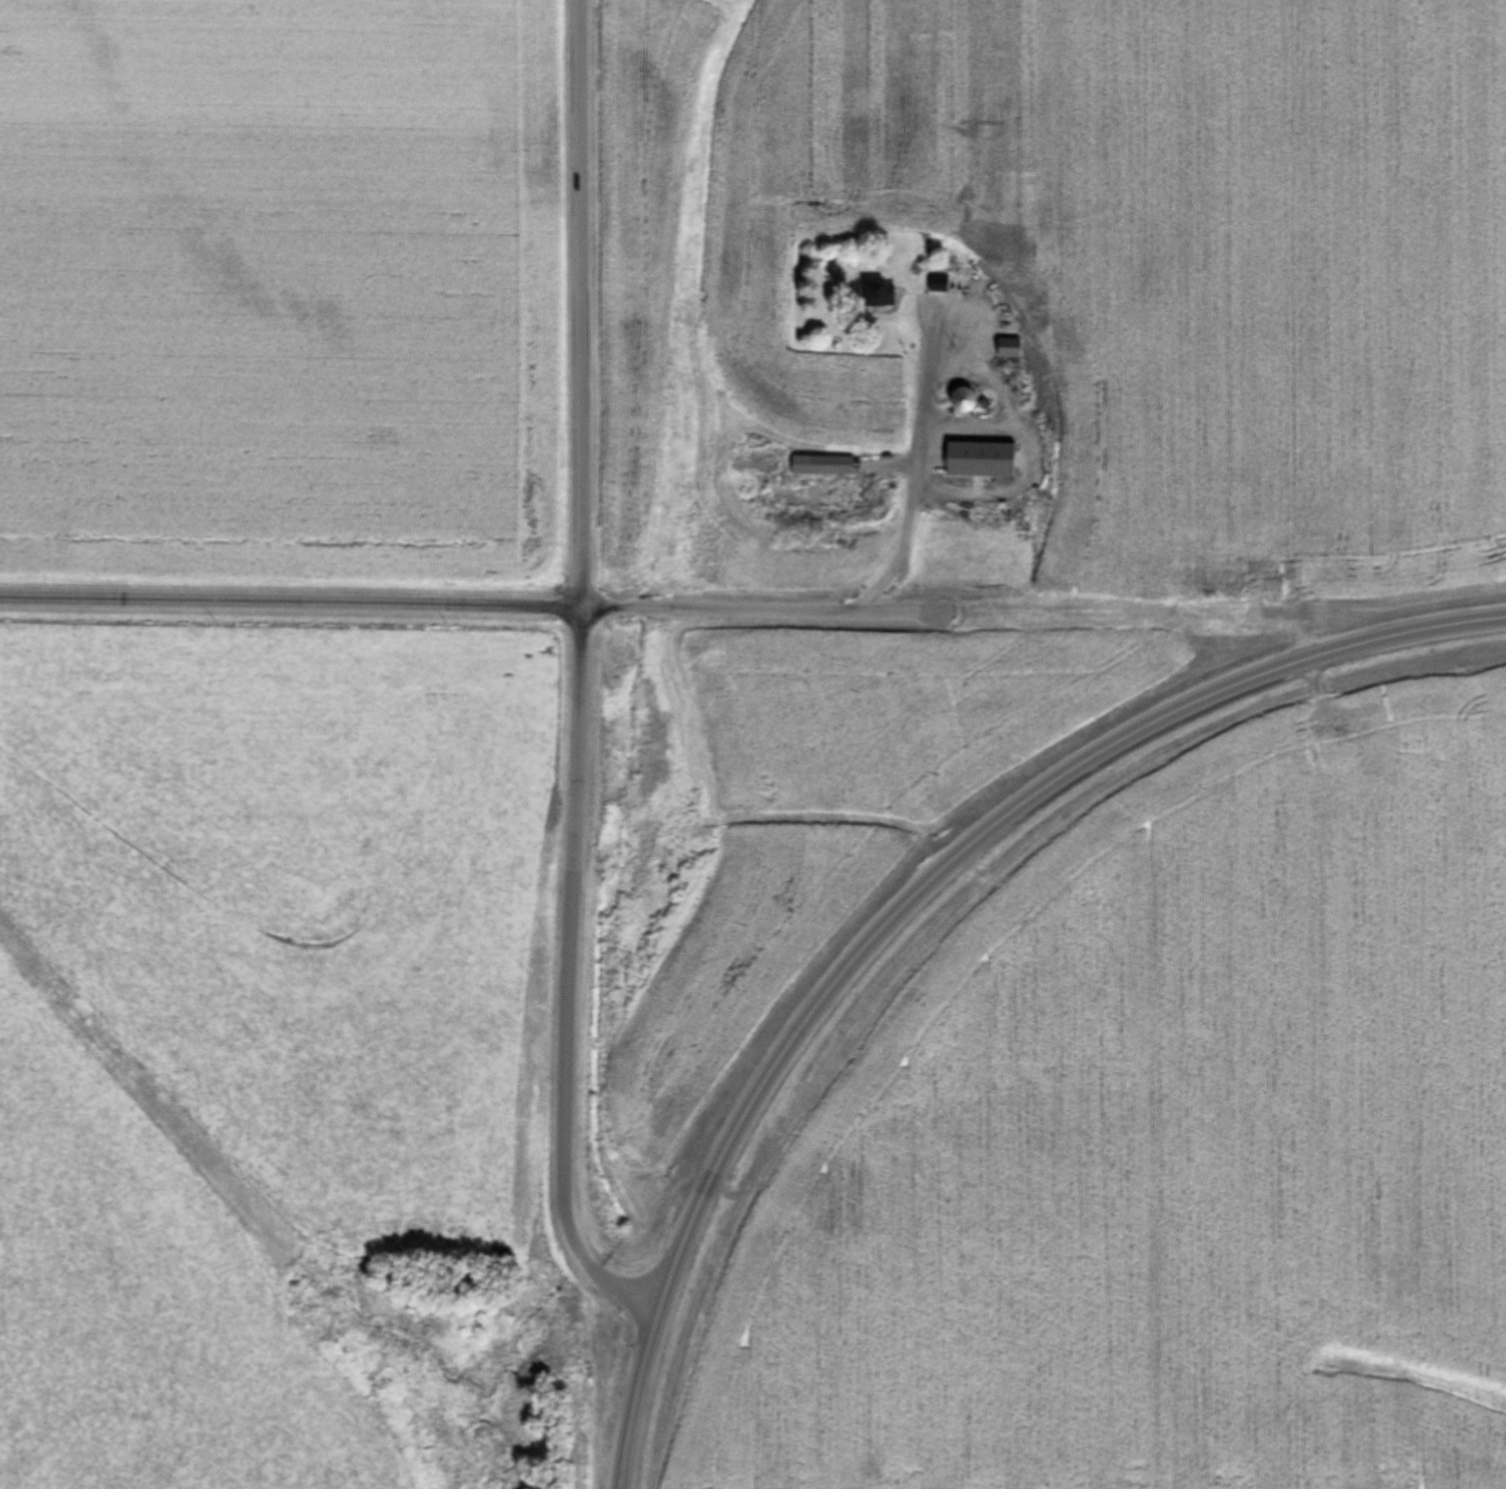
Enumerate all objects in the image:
building: (937, 284)
building: (875, 297)
building: (1006, 349)
building: (1014, 385)
building: (986, 399)
building: (960, 401)
building: (977, 460)
building: (820, 466)
road: (668, 609)
road: (578, 729)
road: (913, 900)

